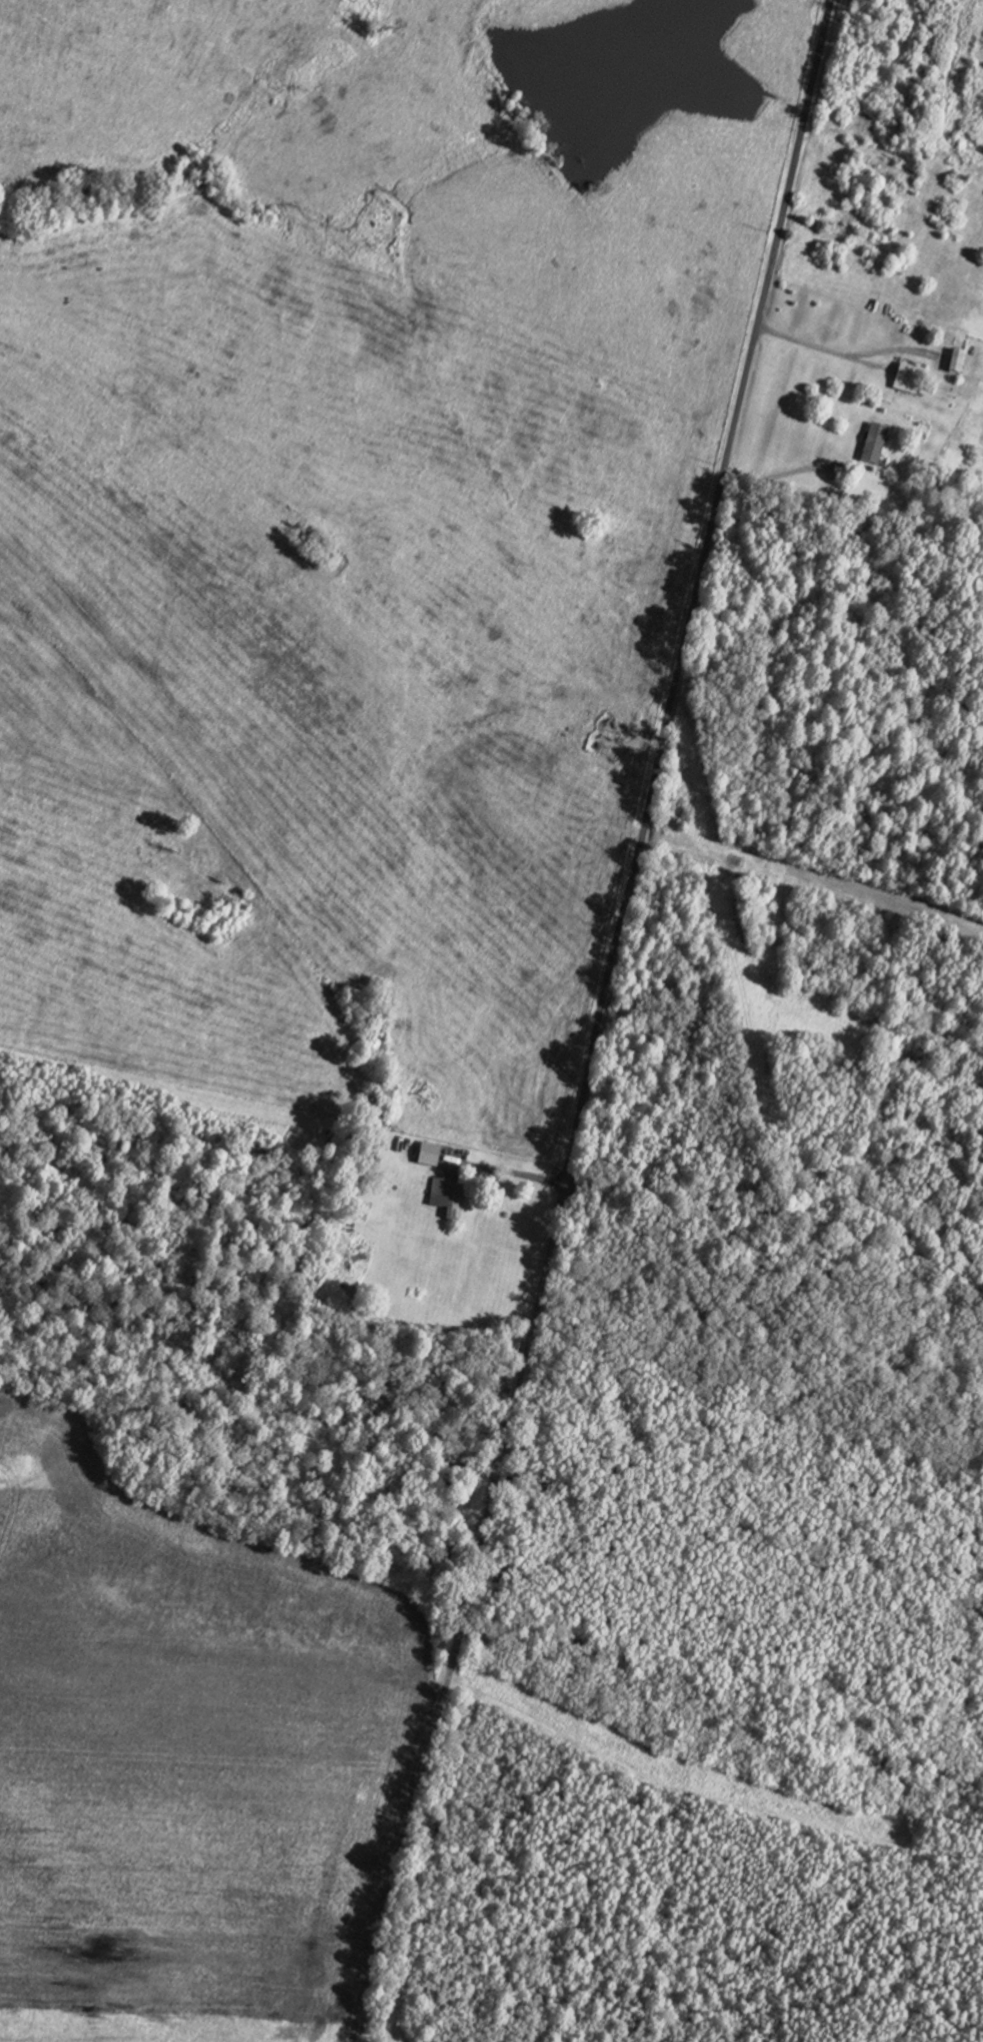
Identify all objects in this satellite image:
building: (908, 381)
building: (873, 445)
road: (597, 1022)
building: (446, 1198)

